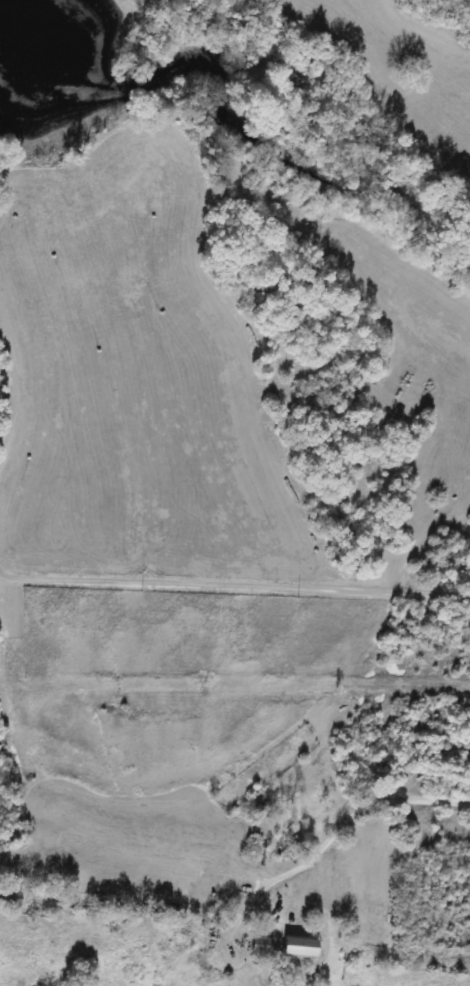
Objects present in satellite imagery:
road: (234, 581)
road: (332, 839)
building: (258, 946)
building: (297, 947)

